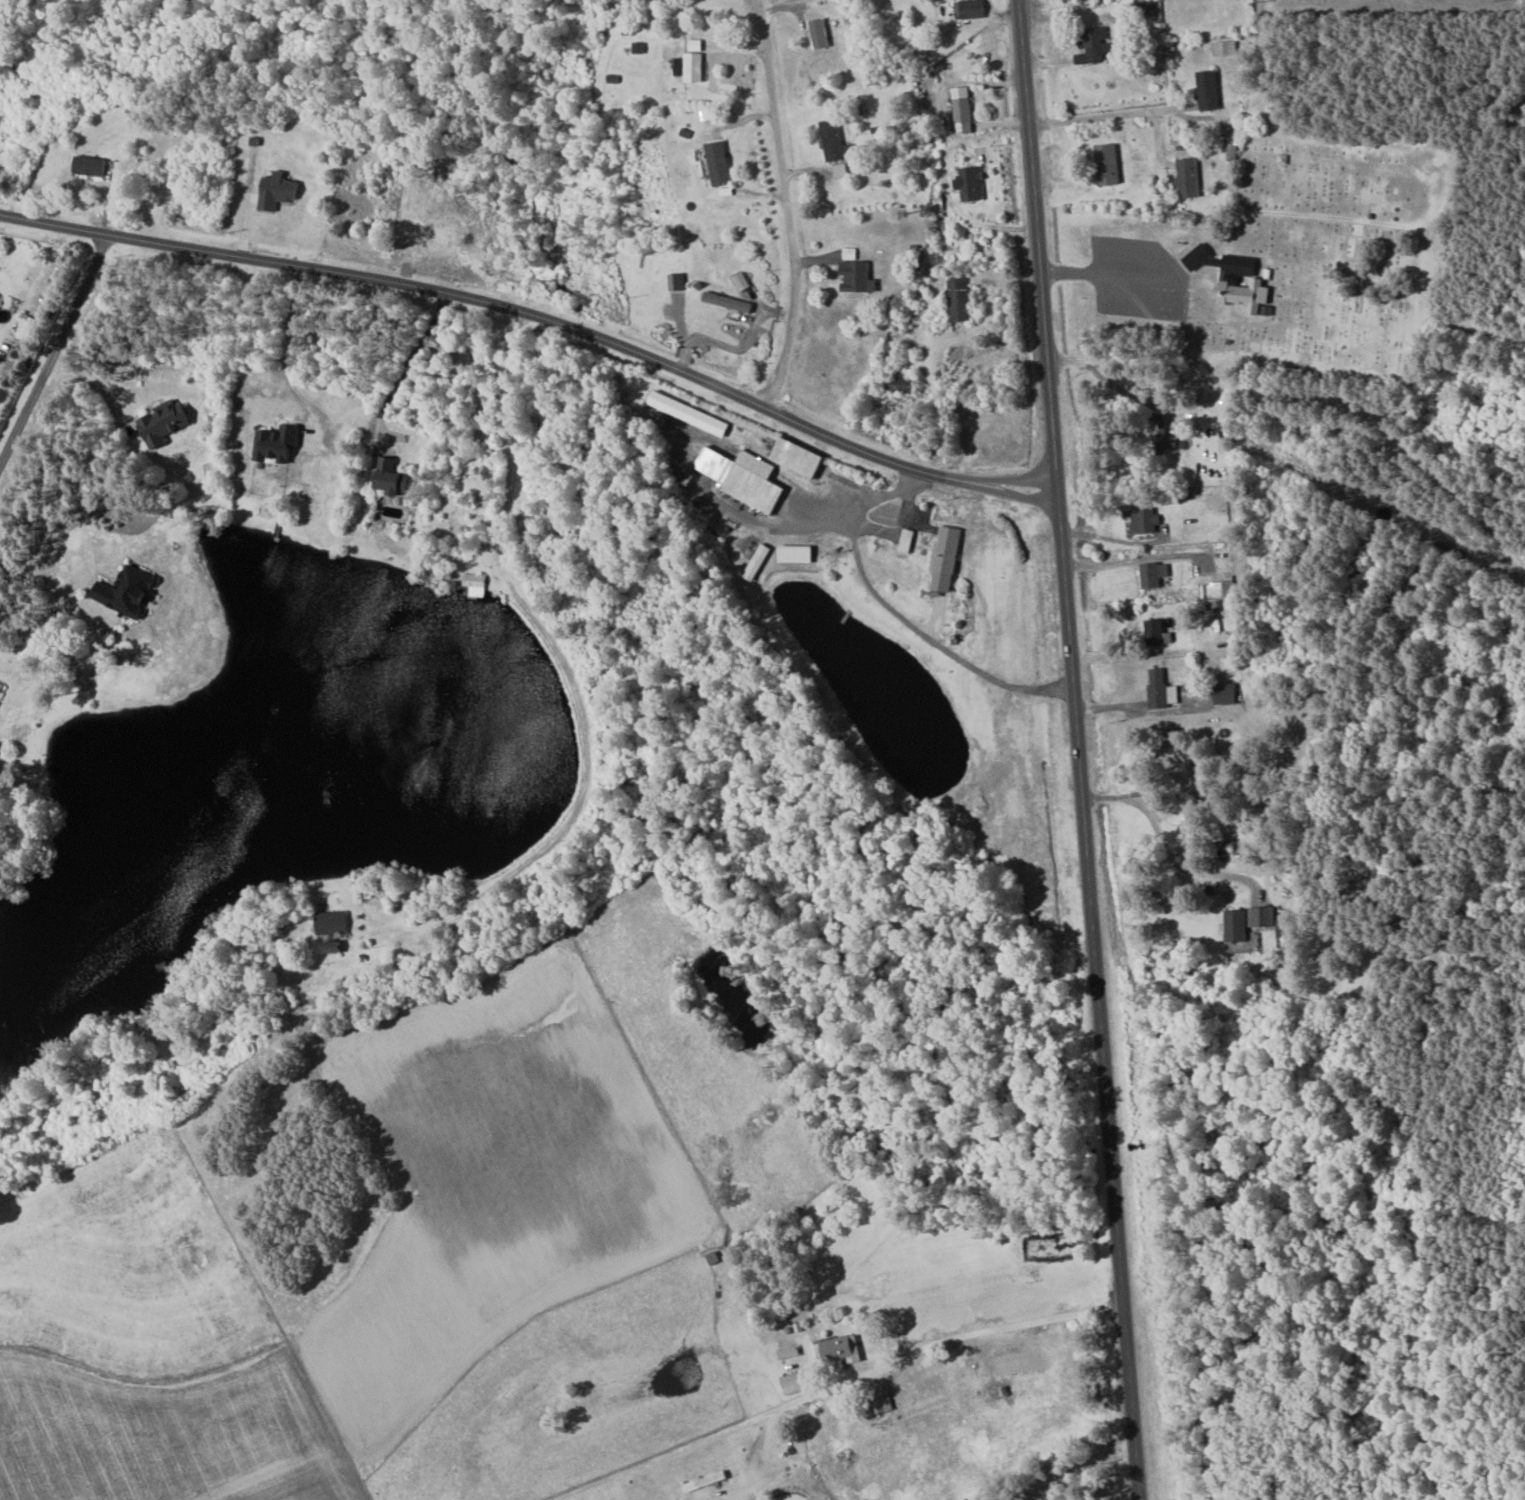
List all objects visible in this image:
building: (971, 8)
building: (821, 33)
building: (1102, 44)
building: (691, 67)
building: (1209, 90)
building: (963, 110)
road: (1099, 120)
building: (836, 141)
building: (721, 163)
building: (1109, 164)
building: (90, 165)
building: (842, 170)
building: (1189, 177)
building: (972, 182)
building: (279, 191)
road: (790, 219)
building: (858, 276)
building: (677, 281)
building: (742, 282)
building: (1244, 284)
building: (961, 299)
building: (729, 301)
road: (540, 317)
building: (26, 328)
road: (53, 348)
road: (401, 367)
road: (1312, 399)
building: (691, 414)
building: (166, 423)
road: (1053, 435)
building: (1167, 441)
building: (279, 444)
building: (802, 457)
building: (394, 477)
building: (745, 477)
building: (1147, 521)
building: (908, 540)
building: (799, 554)
road: (1151, 557)
building: (947, 559)
building: (759, 562)
road: (1070, 564)
road: (1085, 565)
building: (1154, 575)
building: (475, 584)
road: (52, 589)
building: (1218, 590)
building: (129, 591)
road: (900, 616)
building: (1157, 631)
road: (573, 684)
building: (0, 688)
building: (1228, 693)
building: (0, 700)
road: (1164, 855)
building: (1247, 922)
building: (334, 924)
building: (334, 947)
road: (1113, 1185)
building: (840, 1350)
building: (793, 1383)
road: (834, 1385)

